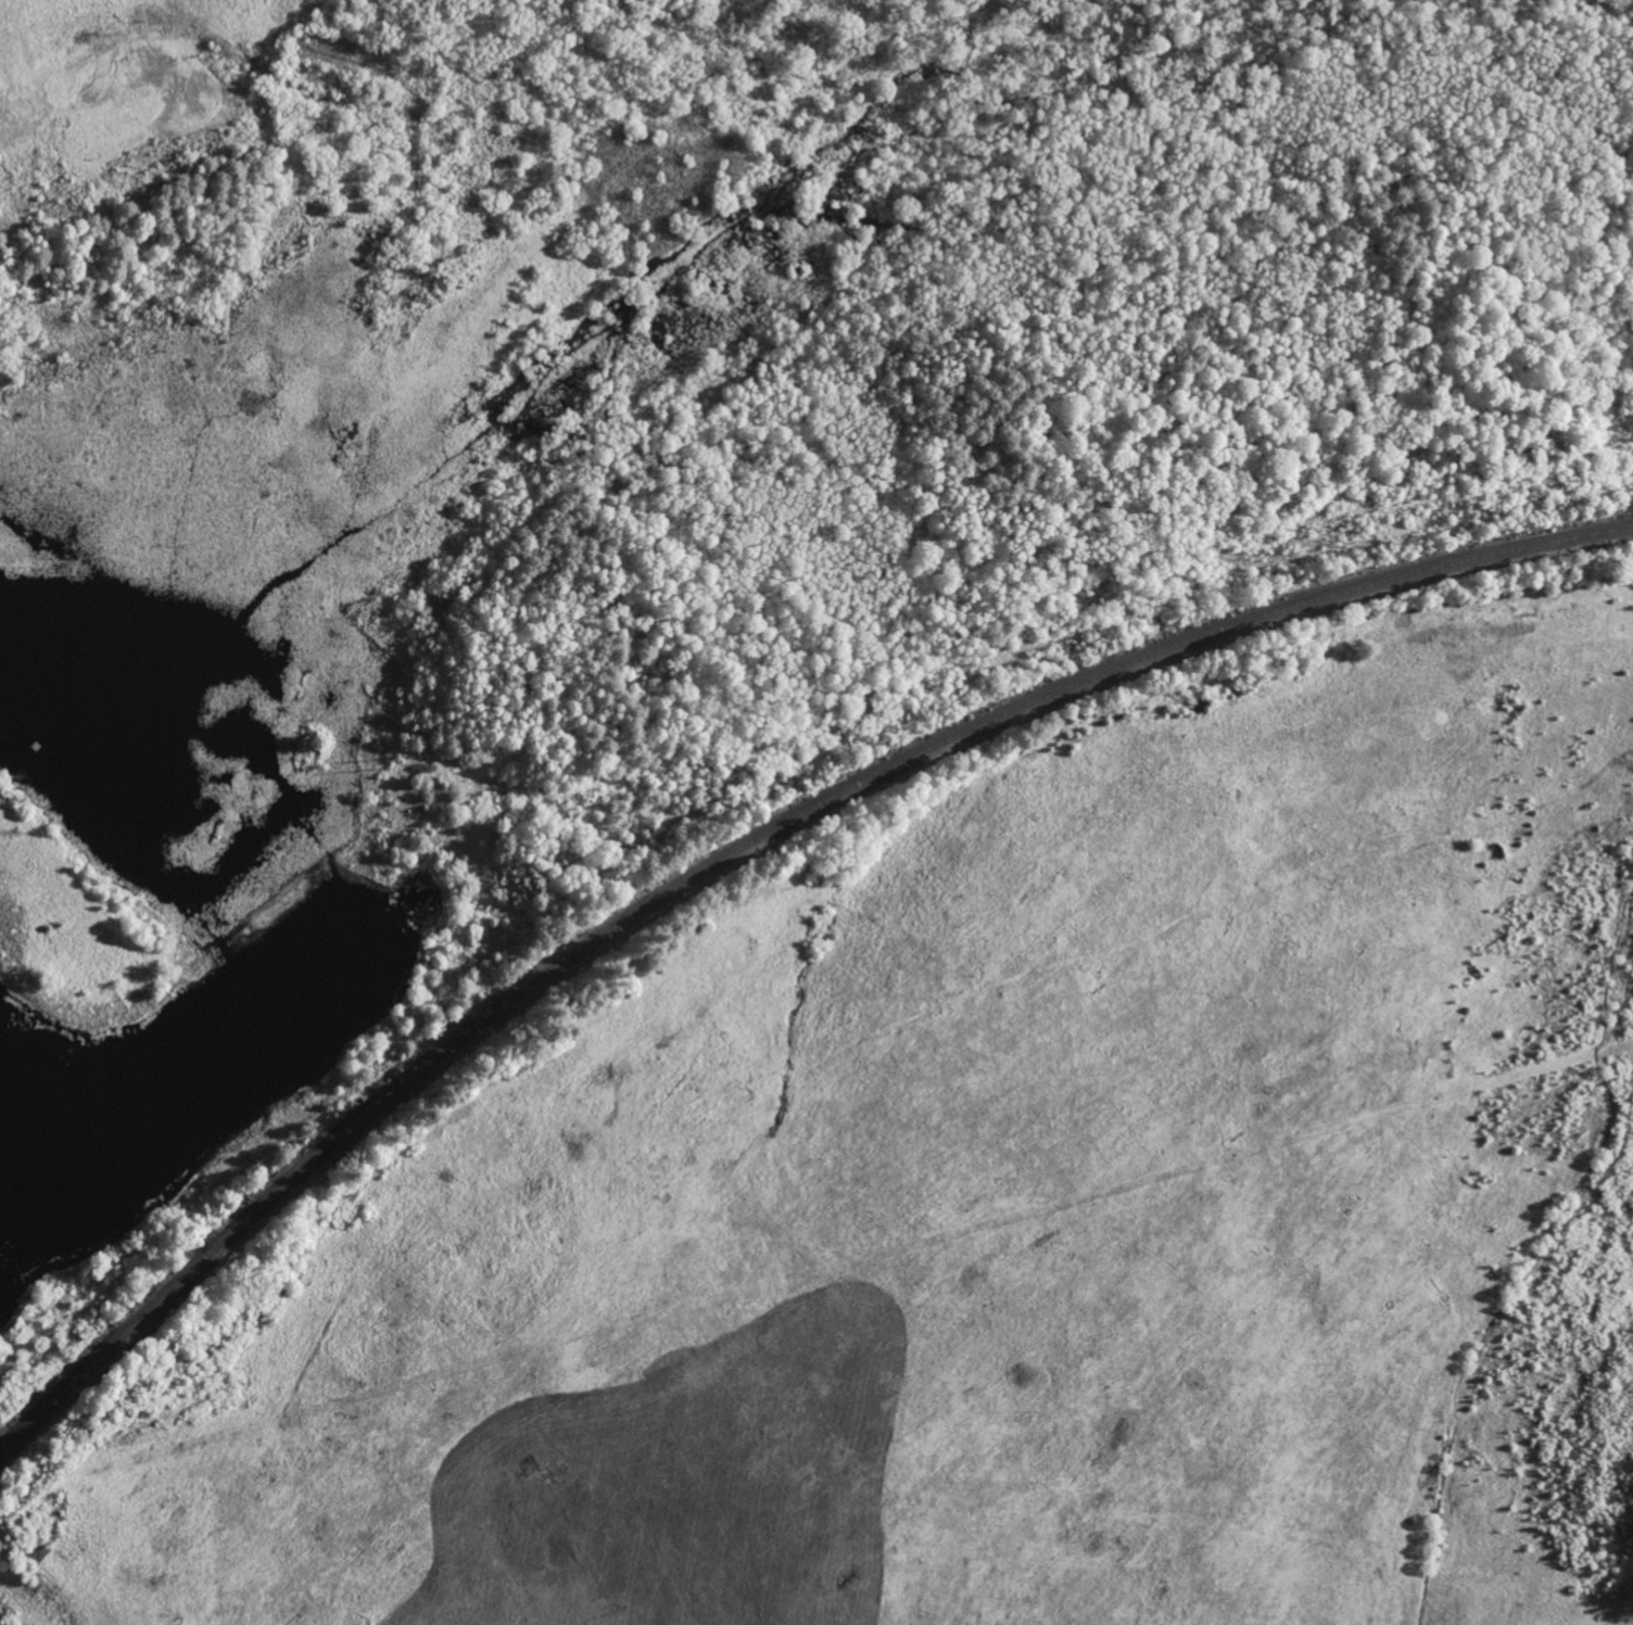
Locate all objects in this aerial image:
railway: (739, 850)

